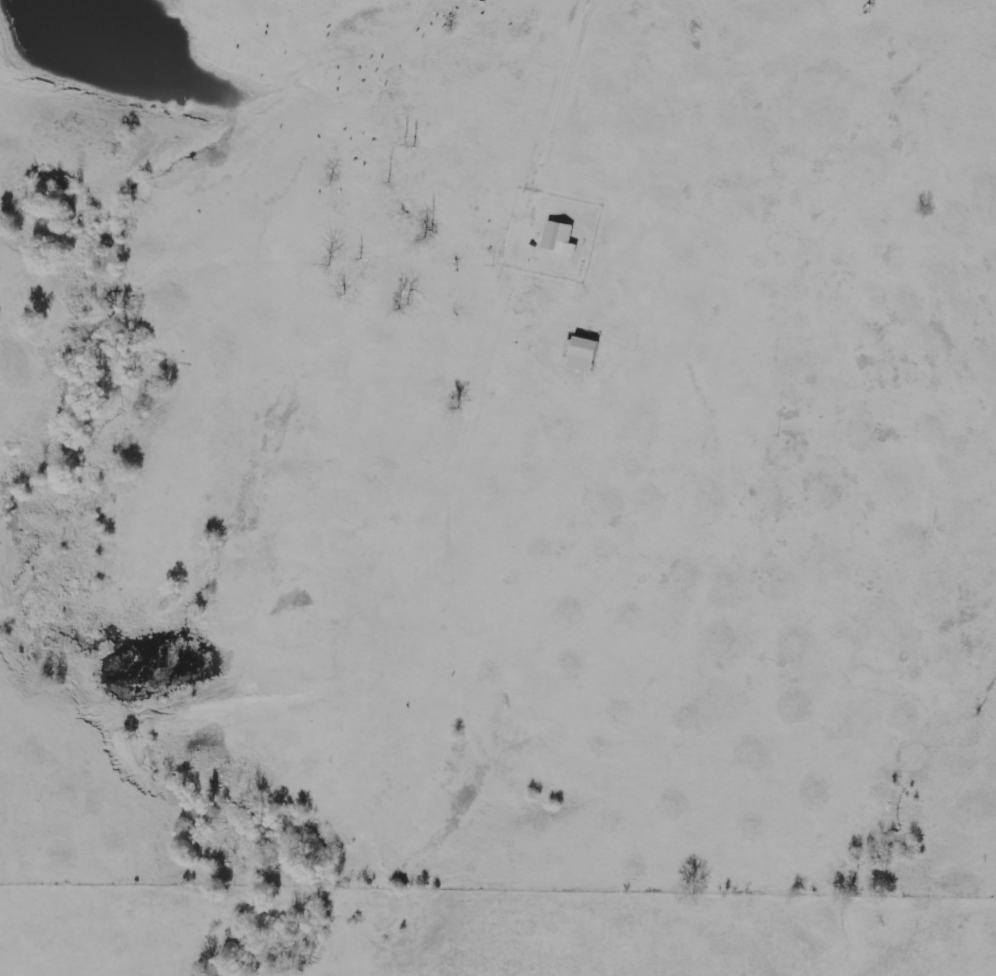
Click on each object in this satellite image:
road: (555, 108)
building: (559, 237)
building: (583, 353)

